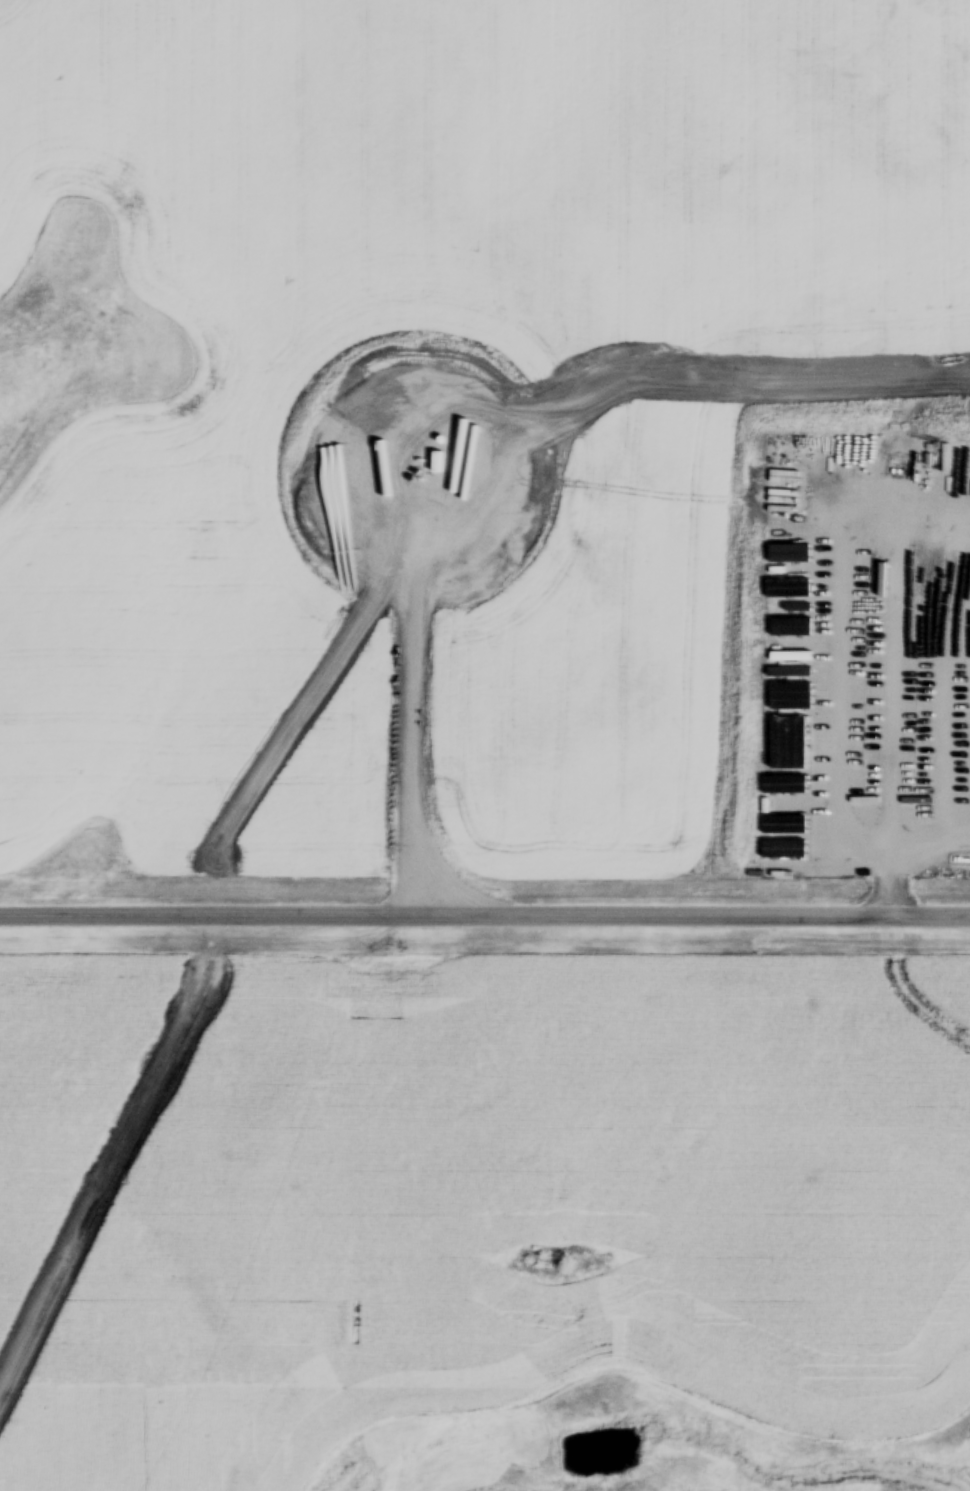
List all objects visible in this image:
wind turbine: (421, 470)
road: (484, 911)

